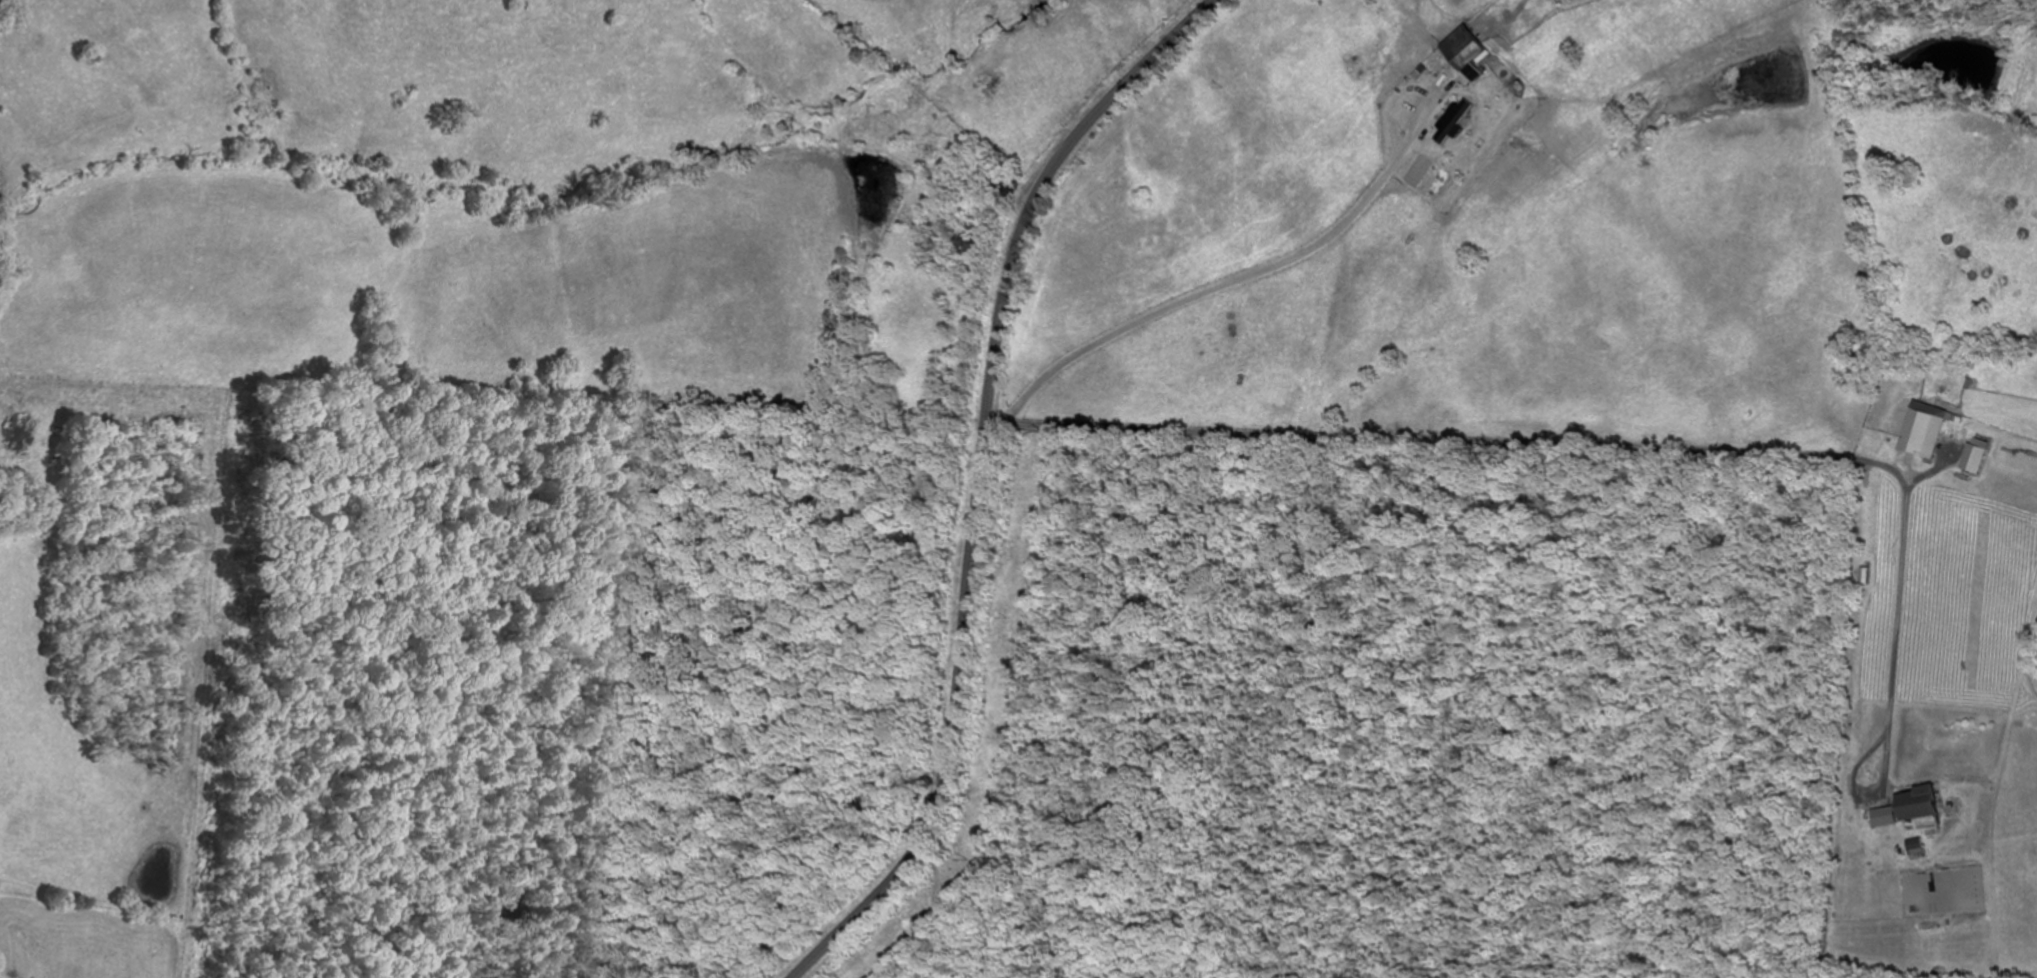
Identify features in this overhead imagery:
building: (1464, 49)
building: (1451, 121)
building: (1005, 185)
building: (967, 242)
road: (1265, 282)
building: (1924, 428)
road: (978, 477)
building: (1916, 802)

